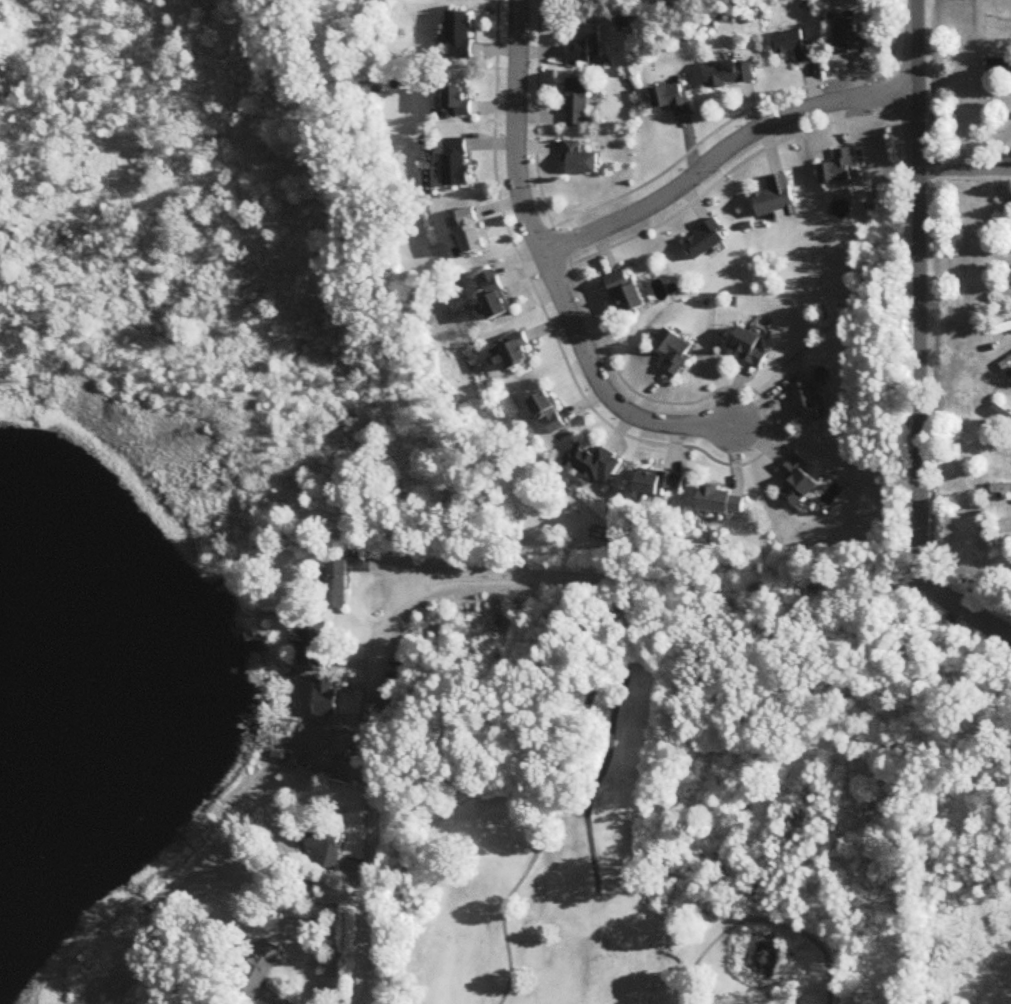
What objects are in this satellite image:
building: (565, 0)
building: (460, 35)
building: (851, 38)
building: (795, 45)
building: (586, 47)
building: (999, 70)
building: (729, 73)
building: (672, 99)
building: (456, 100)
building: (576, 103)
road: (720, 152)
building: (577, 160)
building: (457, 163)
building: (837, 169)
road: (965, 169)
building: (774, 198)
building: (1002, 221)
building: (473, 232)
building: (703, 241)
road: (549, 268)
road: (919, 292)
building: (625, 294)
building: (495, 296)
building: (1001, 329)
building: (748, 347)
building: (675, 352)
building: (517, 355)
building: (1007, 366)
building: (805, 404)
building: (549, 415)
building: (1001, 415)
building: (1000, 452)
road: (1004, 460)
building: (595, 464)
building: (797, 482)
building: (660, 484)
building: (1001, 492)
building: (723, 503)
road: (455, 583)
building: (336, 585)
road: (965, 612)
building: (313, 648)
building: (326, 698)
building: (326, 745)
park: (659, 845)
building: (326, 847)
building: (260, 970)

